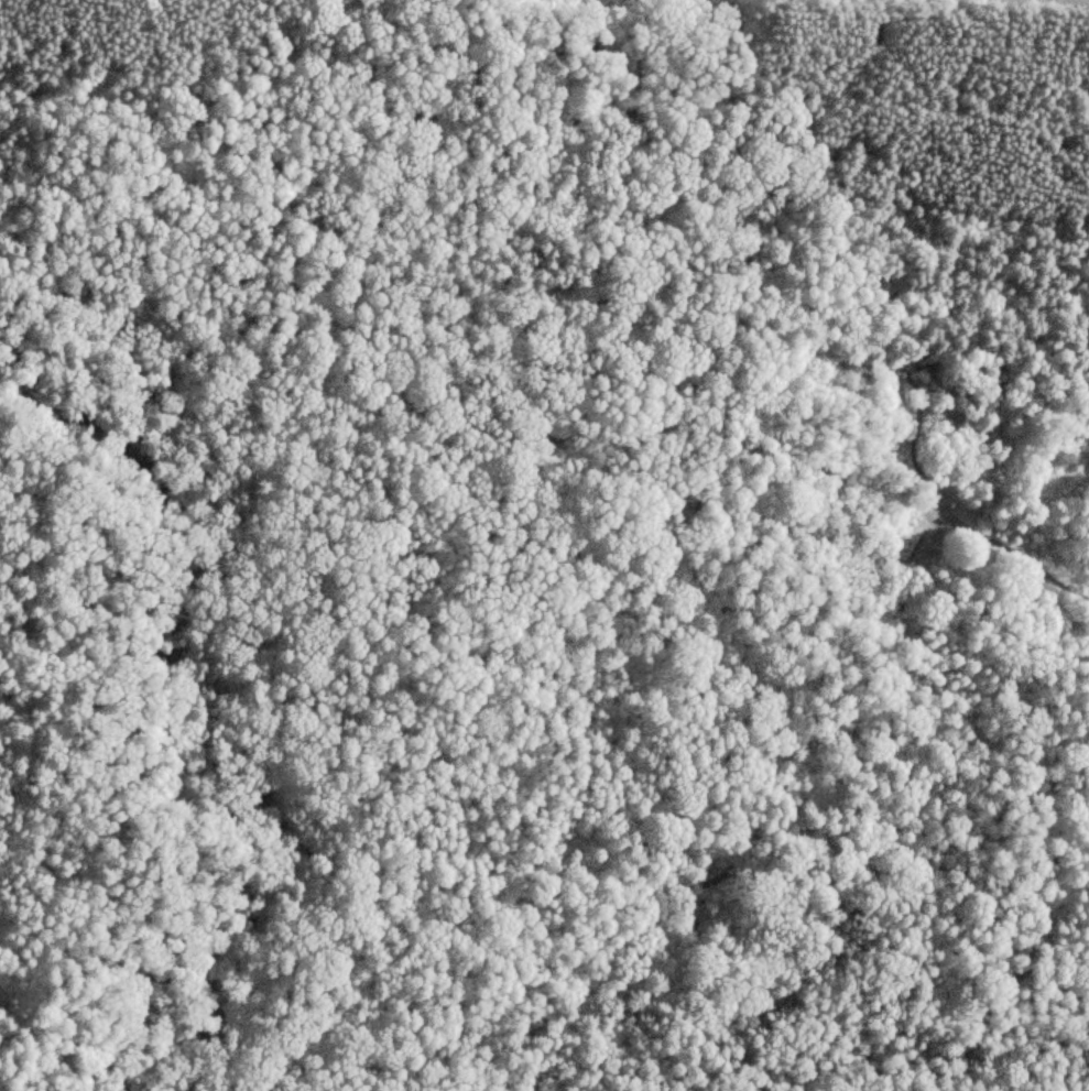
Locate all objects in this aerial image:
road: (859, 7)

